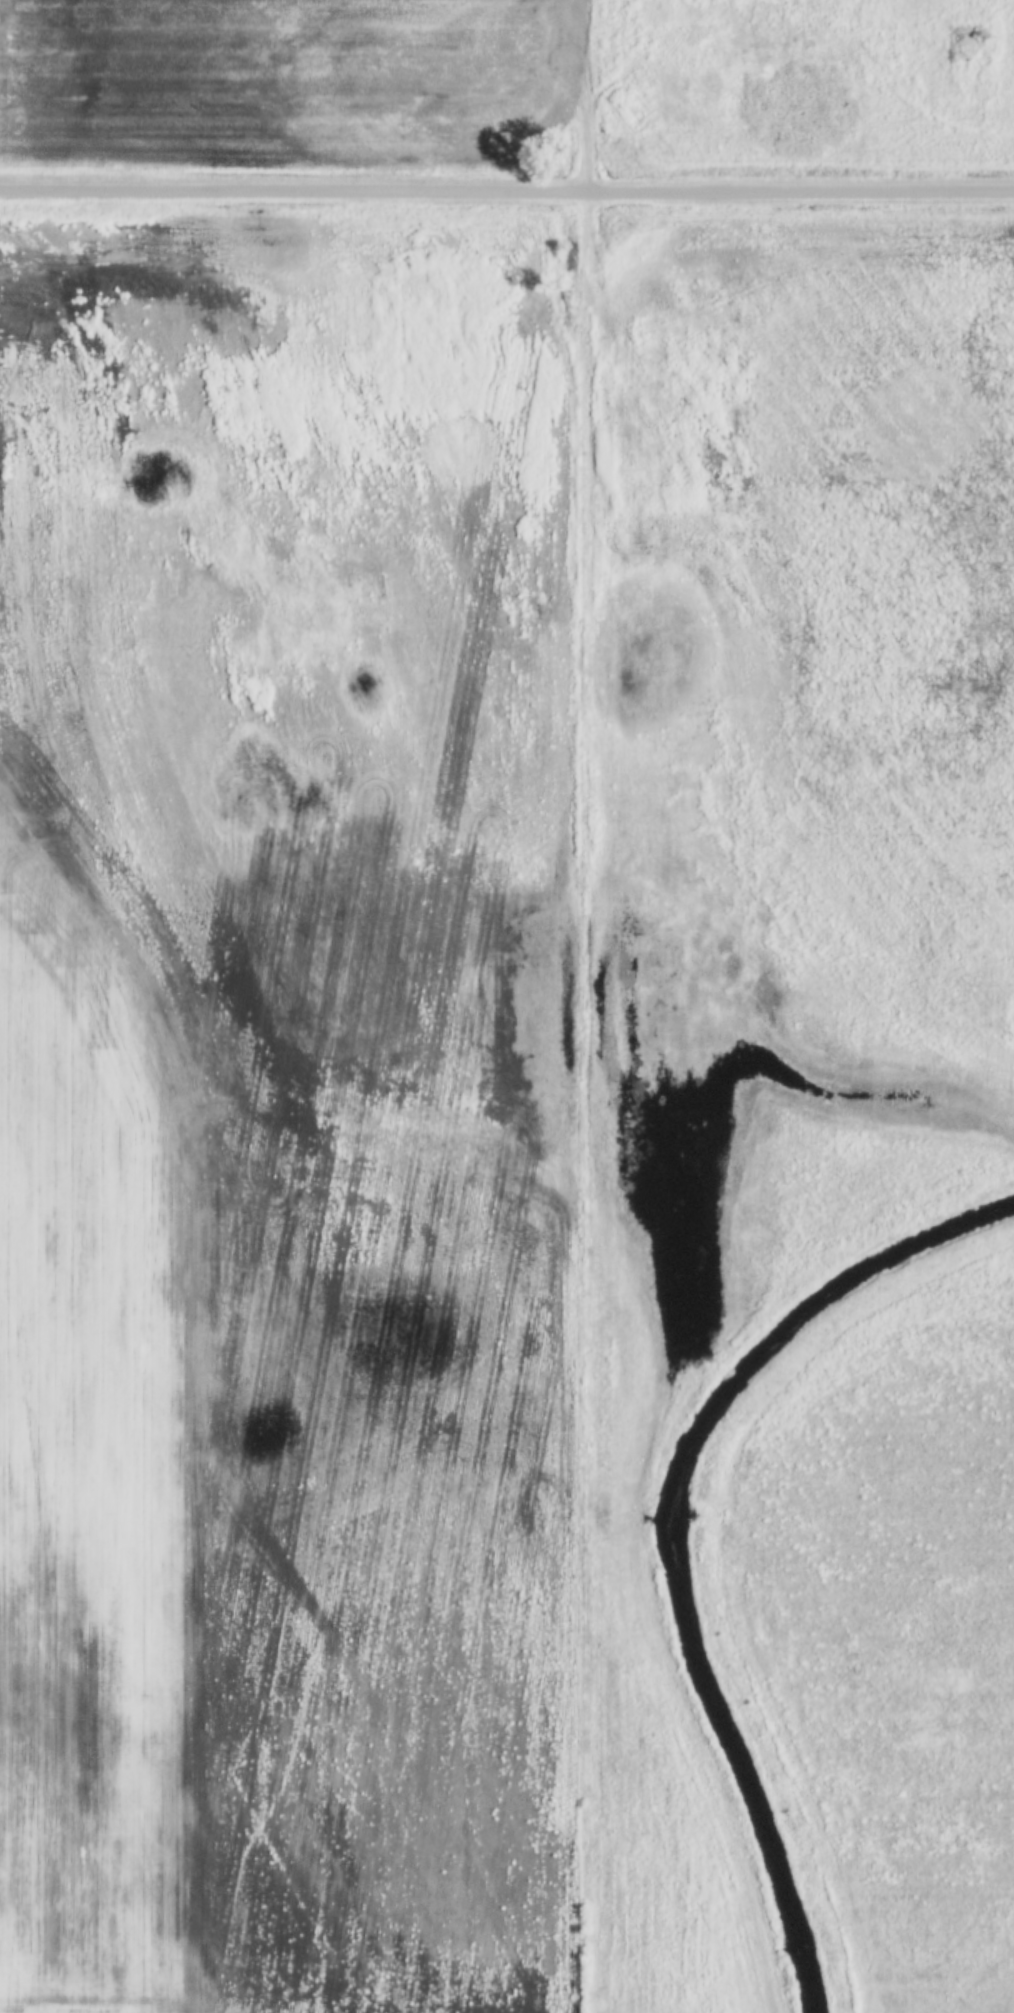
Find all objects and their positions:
crop: (282, 82)
road: (506, 192)
crop: (789, 896)
crop: (287, 1120)
crop: (893, 1632)

